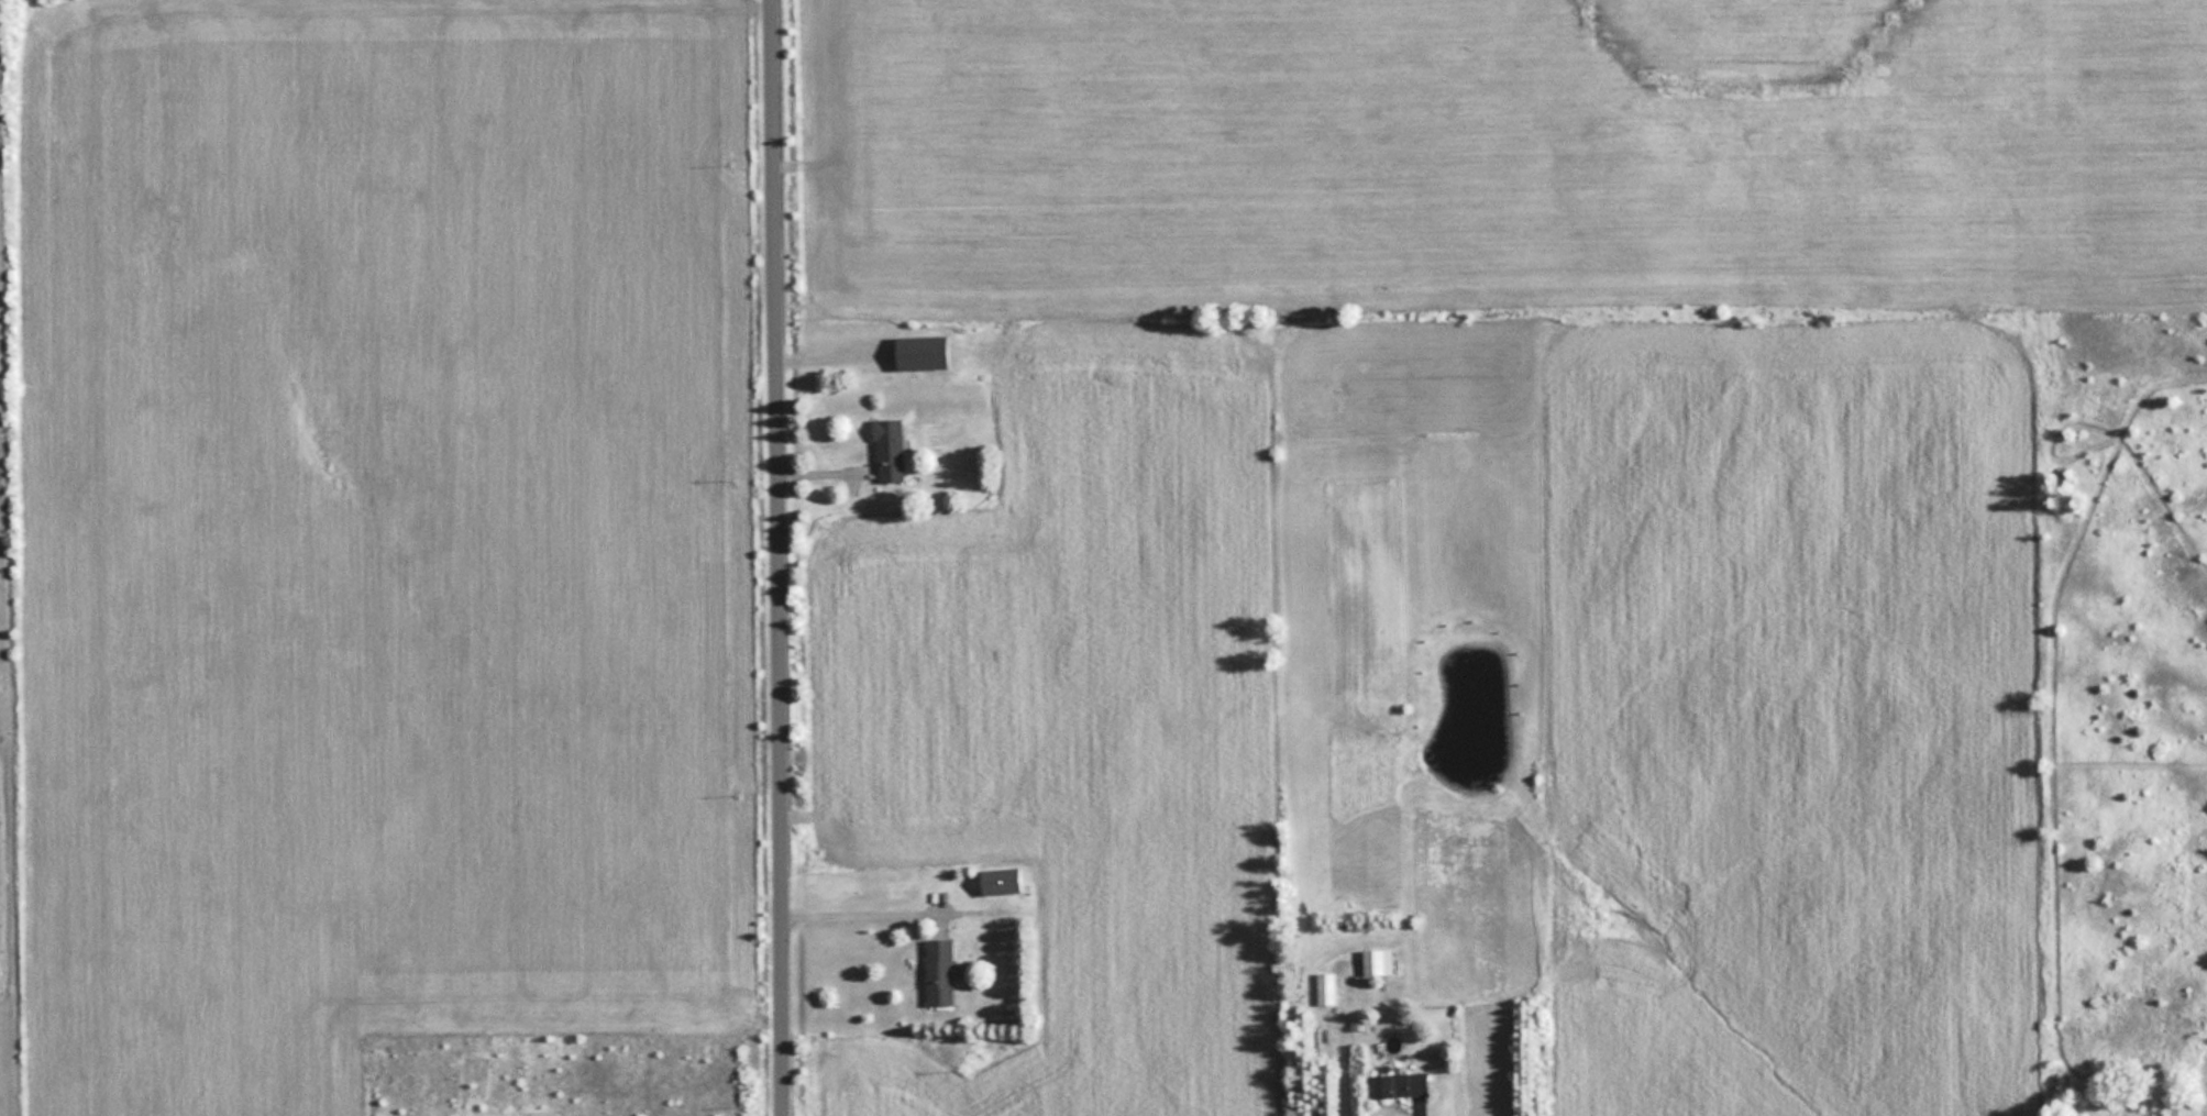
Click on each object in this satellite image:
building: (920, 352)
building: (889, 449)
road: (781, 557)
building: (1001, 880)
road: (853, 913)
building: (1377, 961)
building: (939, 971)
building: (1326, 987)
building: (1399, 1084)
road: (1413, 1113)

